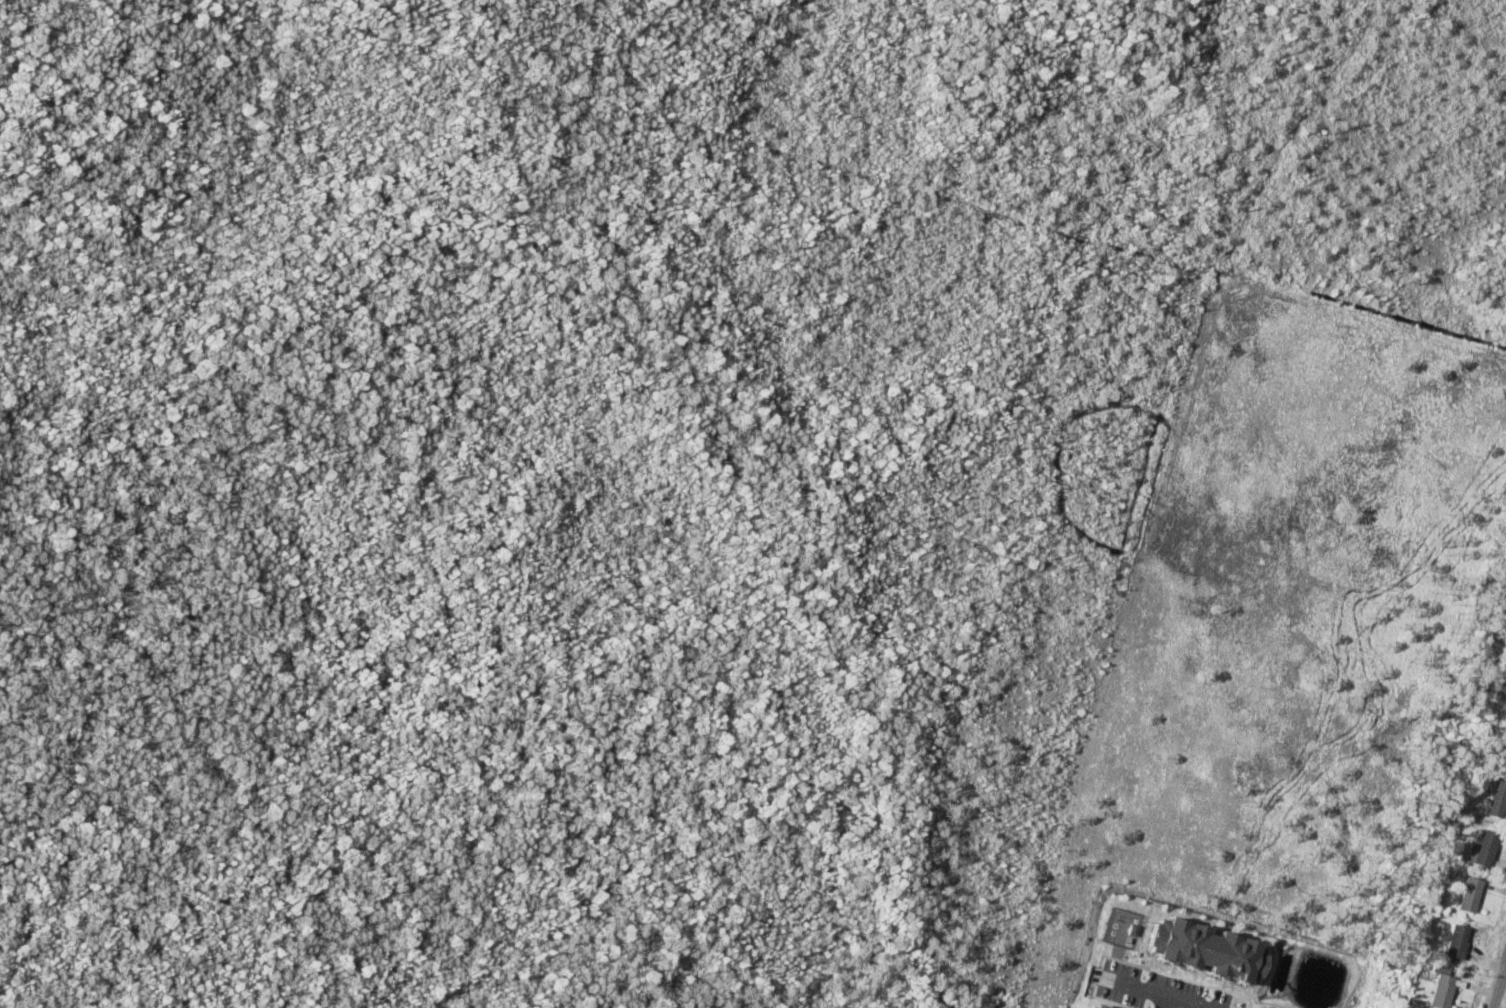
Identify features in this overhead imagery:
building: (1504, 755)
building: (1496, 801)
building: (1484, 849)
building: (1469, 896)
building: (1456, 943)
road: (1497, 980)
building: (1438, 989)
road: (1187, 996)

